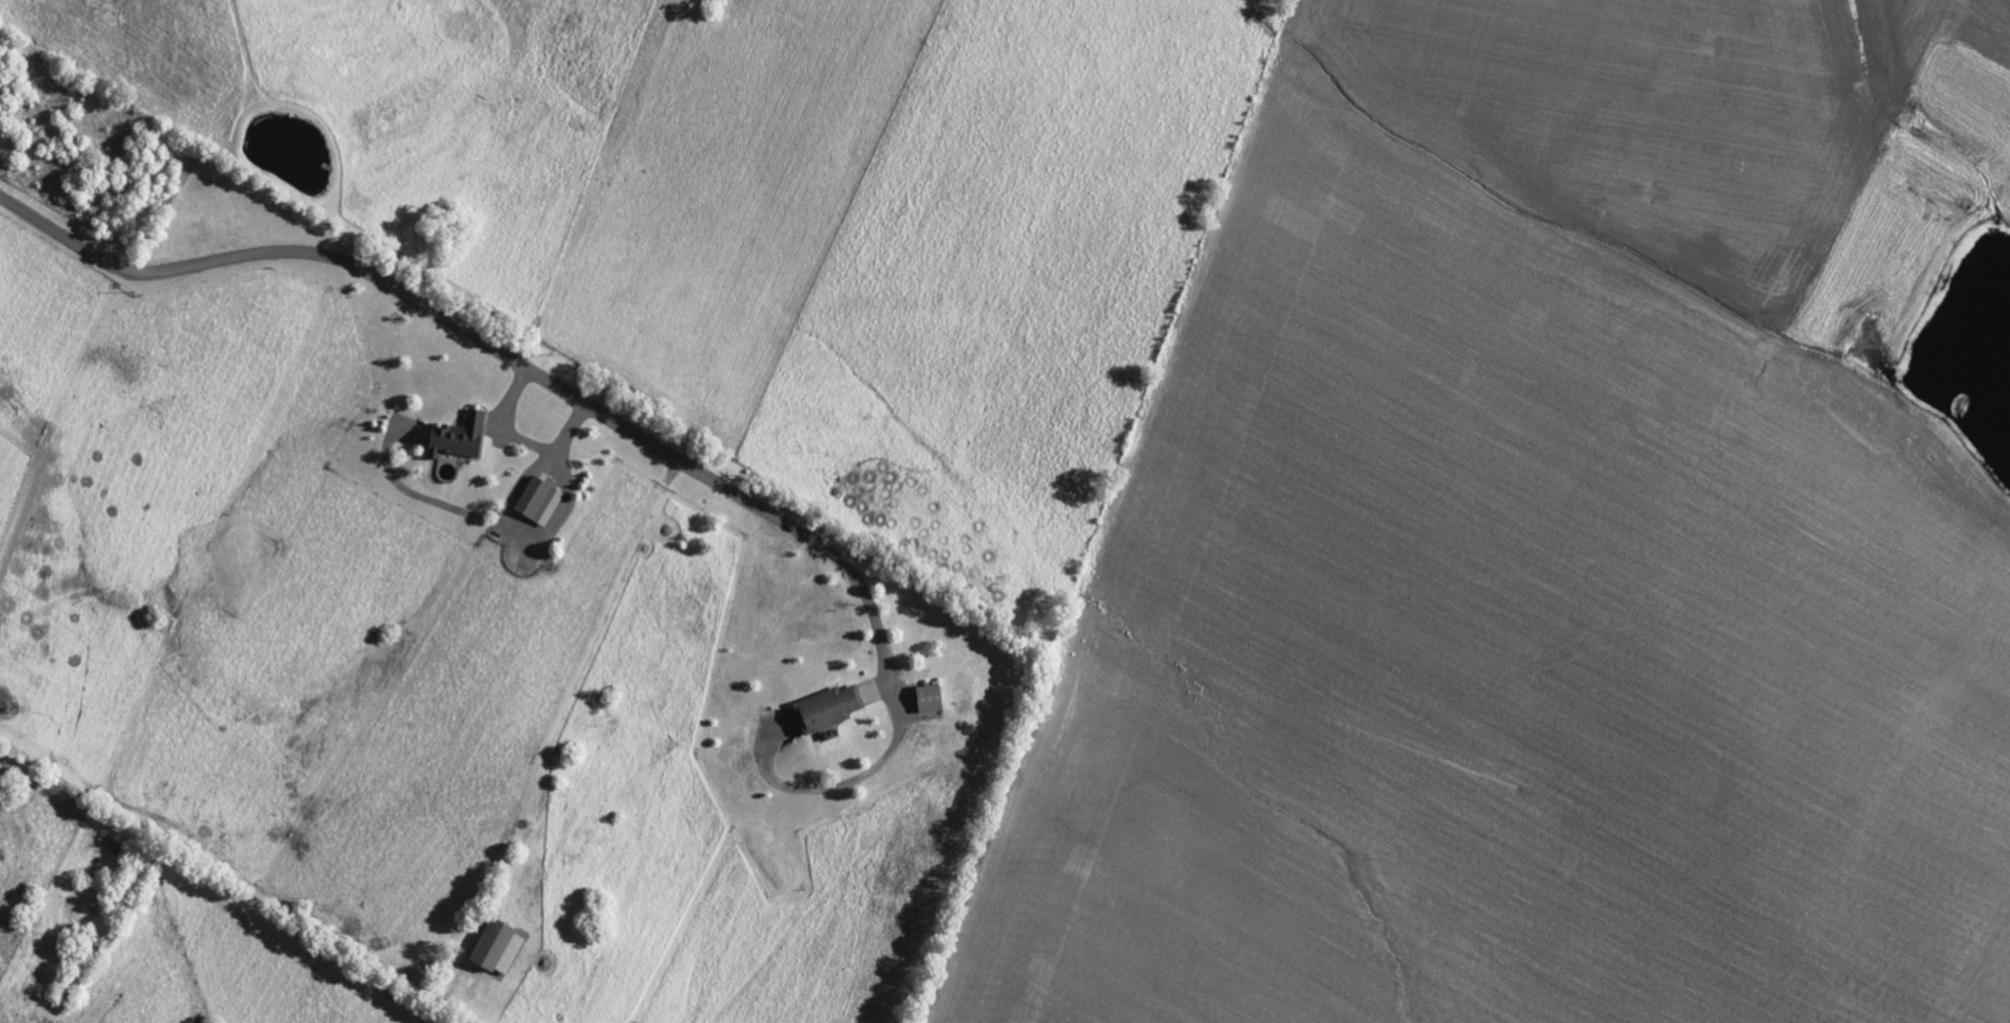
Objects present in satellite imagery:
road: (601, 412)
building: (456, 437)
building: (538, 501)
building: (928, 698)
building: (826, 708)
building: (490, 945)

